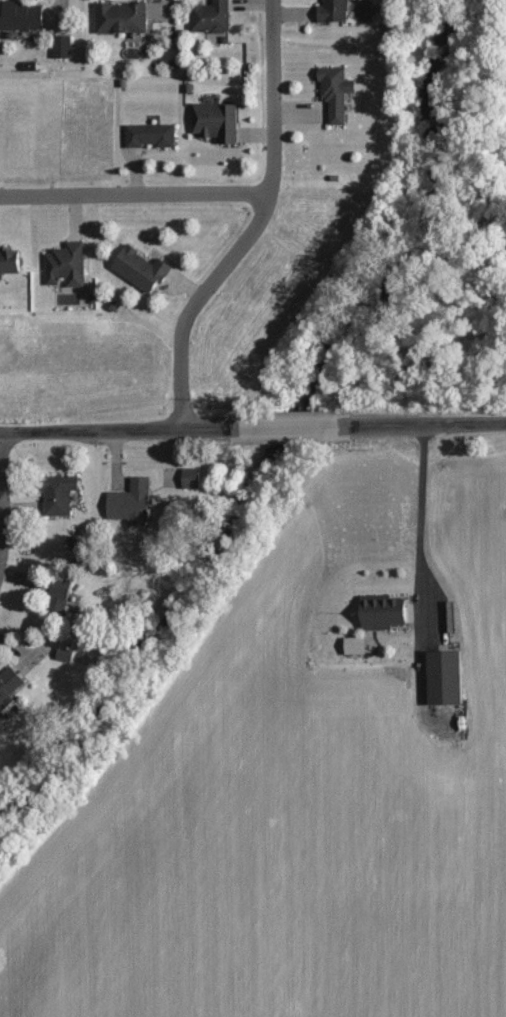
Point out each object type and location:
building: (365, 10)
building: (335, 11)
building: (22, 16)
building: (122, 18)
building: (214, 19)
building: (63, 47)
building: (338, 95)
building: (218, 122)
building: (153, 136)
road: (134, 194)
road: (256, 224)
building: (11, 261)
building: (68, 266)
building: (145, 269)
road: (252, 428)
building: (194, 479)
building: (62, 495)
road: (4, 501)
building: (133, 503)
road: (417, 577)
building: (44, 589)
building: (386, 614)
building: (65, 654)
building: (447, 679)
building: (10, 687)

